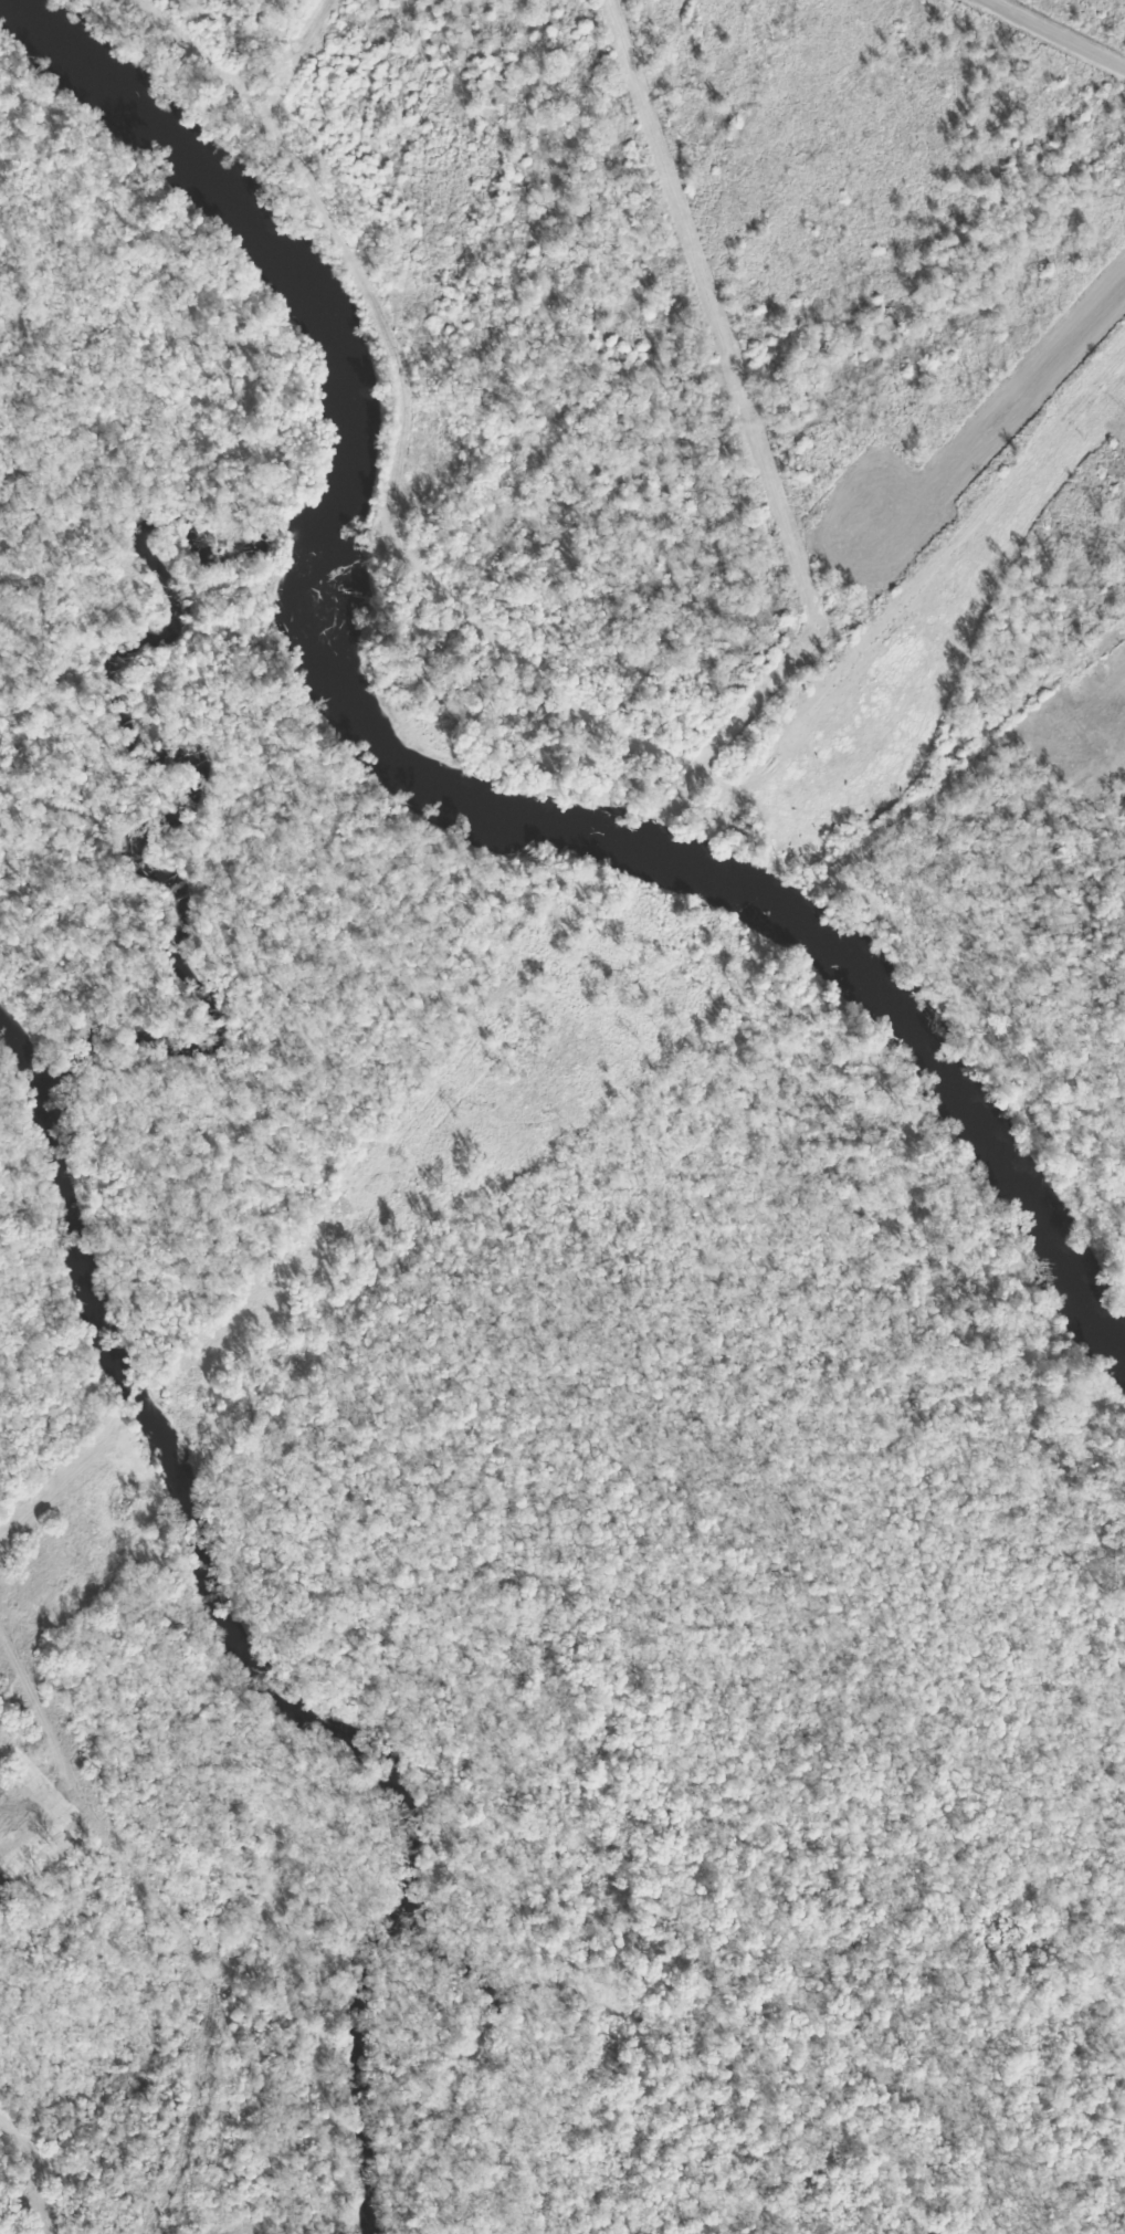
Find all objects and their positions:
road: (1061, 32)
road: (513, 693)
river: (425, 768)

